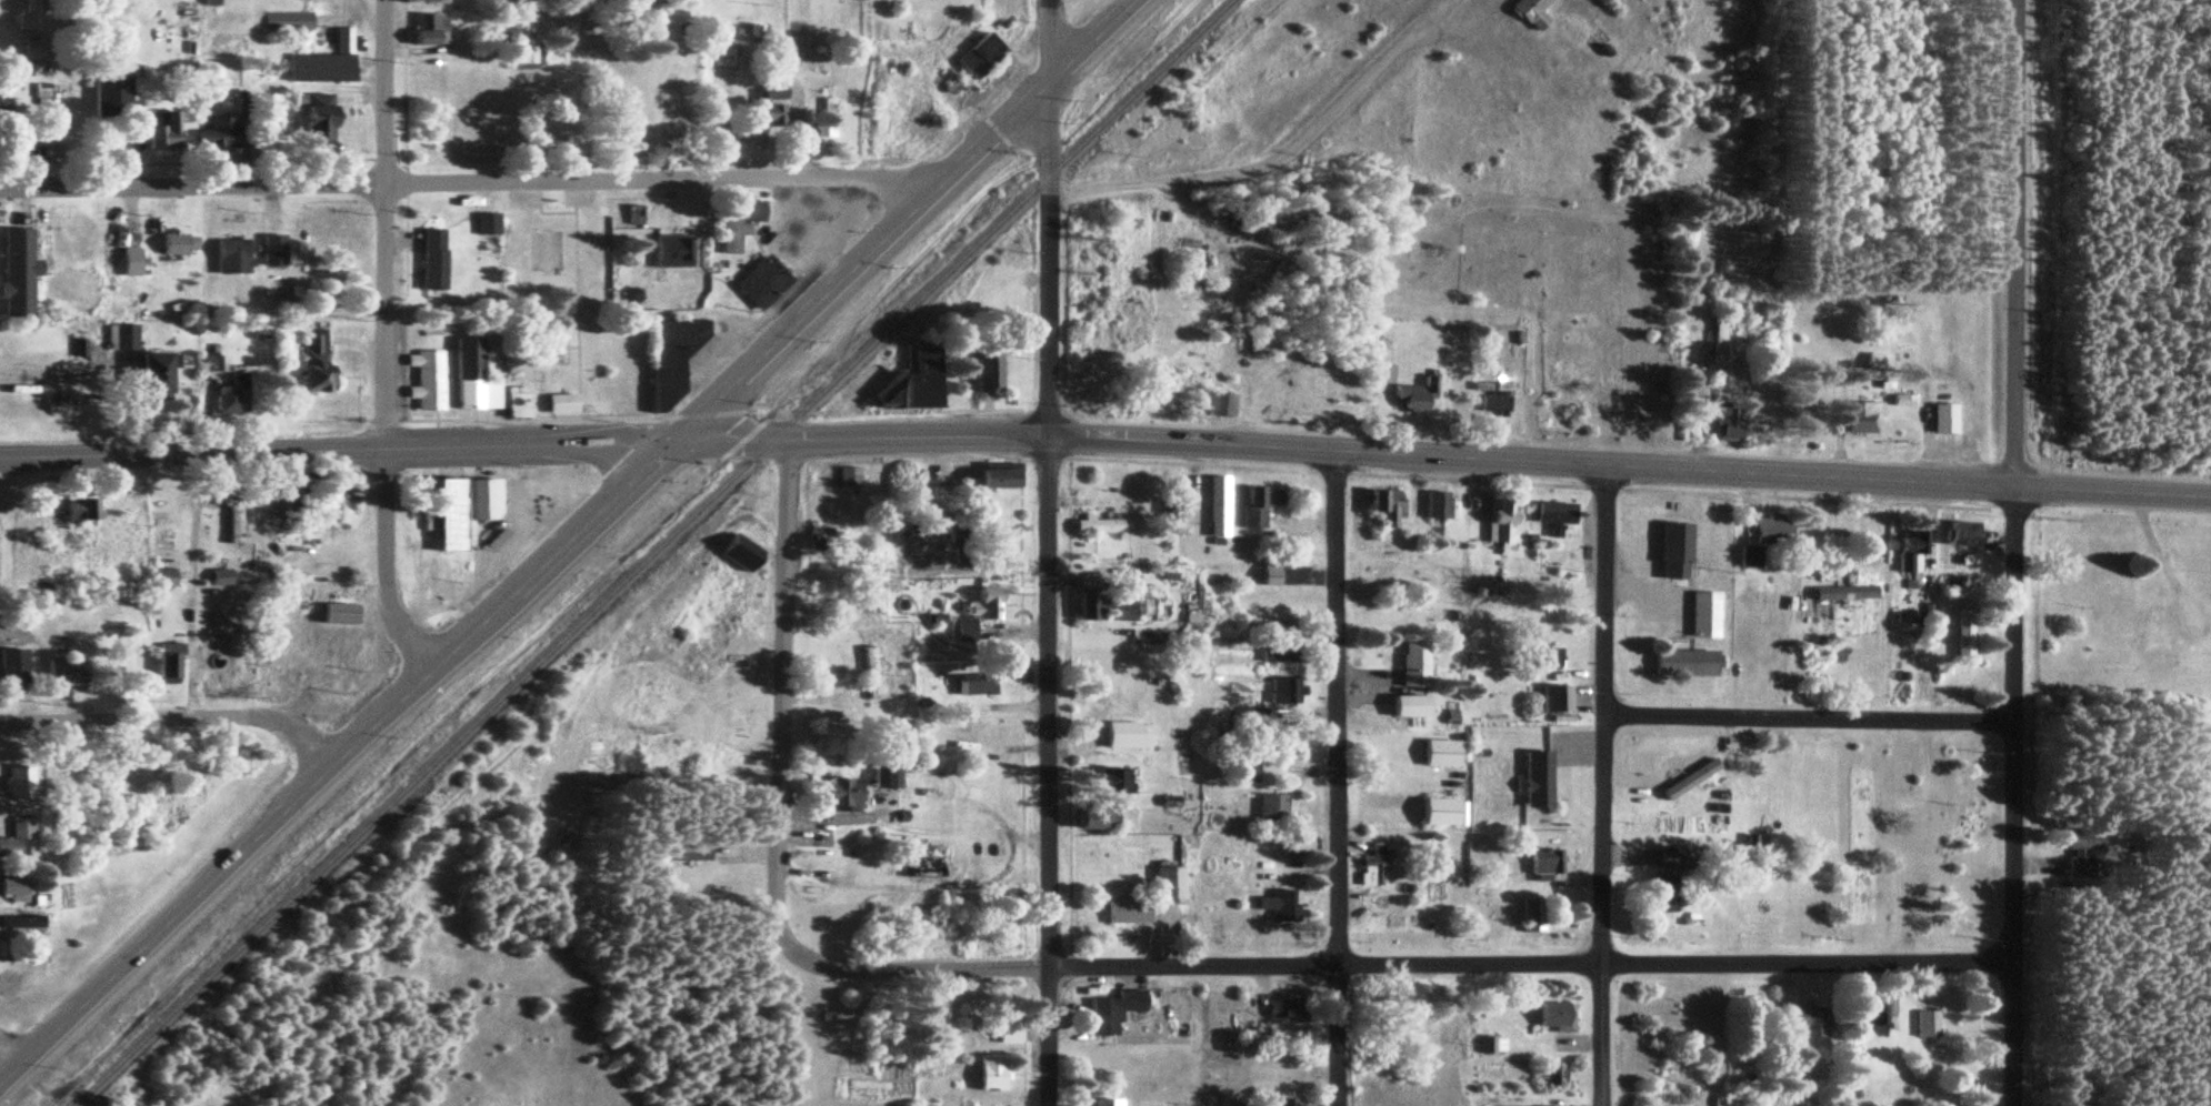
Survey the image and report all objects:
building: (320, 0)
building: (656, 8)
building: (1530, 12)
building: (28, 17)
road: (1420, 17)
building: (287, 22)
building: (429, 29)
road: (1457, 37)
road: (1501, 43)
building: (980, 54)
road: (1010, 59)
building: (326, 62)
building: (949, 83)
building: (41, 91)
building: (111, 97)
building: (768, 105)
building: (4, 117)
building: (319, 122)
road: (974, 127)
building: (163, 131)
building: (220, 134)
road: (1249, 169)
road: (463, 181)
parking lot: (547, 193)
road: (547, 214)
road: (1044, 219)
building: (487, 224)
building: (739, 227)
building: (178, 245)
park: (540, 251)
building: (272, 252)
building: (672, 252)
building: (231, 258)
building: (432, 261)
building: (762, 281)
road: (572, 298)
park: (569, 304)
building: (124, 335)
road: (382, 341)
building: (1718, 341)
building: (78, 346)
road: (569, 346)
building: (672, 355)
building: (209, 362)
building: (1873, 362)
building: (316, 365)
building: (989, 371)
road: (66, 372)
building: (157, 375)
building: (471, 375)
building: (426, 379)
building: (914, 380)
building: (1413, 396)
building: (232, 399)
building: (517, 401)
building: (561, 402)
building: (1220, 405)
road: (123, 412)
building: (1861, 418)
building: (1943, 418)
road: (336, 453)
road: (1441, 460)
building: (847, 477)
building: (999, 479)
building: (488, 496)
building: (350, 501)
building: (1259, 504)
building: (1218, 506)
building: (1435, 506)
building: (1385, 507)
building: (81, 510)
building: (914, 510)
building: (454, 512)
building: (1555, 516)
building: (1499, 519)
building: (234, 520)
building: (1098, 526)
building: (1962, 535)
building: (818, 539)
building: (1765, 540)
road: (564, 542)
railway: (649, 551)
building: (1675, 551)
building: (1909, 552)
road: (2011, 553)
road: (614, 554)
road: (2154, 563)
building: (1270, 574)
building: (161, 579)
building: (219, 579)
road: (187, 585)
building: (1843, 594)
building: (1112, 607)
building: (977, 614)
building: (340, 615)
building: (1704, 615)
building: (2152, 631)
building: (1964, 634)
building: (1277, 652)
building: (1549, 660)
building: (169, 663)
building: (219, 663)
building: (1414, 663)
building: (1684, 664)
building: (13, 668)
building: (66, 673)
building: (869, 673)
building: (286, 676)
building: (976, 686)
road: (779, 693)
building: (1285, 693)
building: (1555, 701)
building: (1412, 706)
road: (171, 717)
road: (1802, 717)
building: (1123, 736)
building: (1445, 754)
road: (1048, 772)
building: (1245, 772)
road: (1331, 780)
building: (1688, 780)
building: (19, 781)
building: (1538, 781)
building: (1118, 782)
road: (1597, 786)
building: (841, 794)
building: (1271, 807)
building: (1442, 812)
road: (1, 826)
building: (17, 835)
building: (1259, 837)
building: (689, 852)
building: (2081, 854)
building: (1673, 858)
building: (1541, 863)
building: (1373, 864)
building: (1275, 904)
building: (1127, 911)
building: (1532, 915)
building: (7, 924)
road: (1398, 966)
building: (1113, 1011)
building: (1284, 1011)
building: (1554, 1015)
building: (1812, 1022)
building: (1925, 1024)
building: (1009, 1028)
building: (1485, 1045)
road: (6, 1062)
building: (993, 1073)
building: (1549, 1075)
building: (1288, 1102)
building: (1108, 1103)

